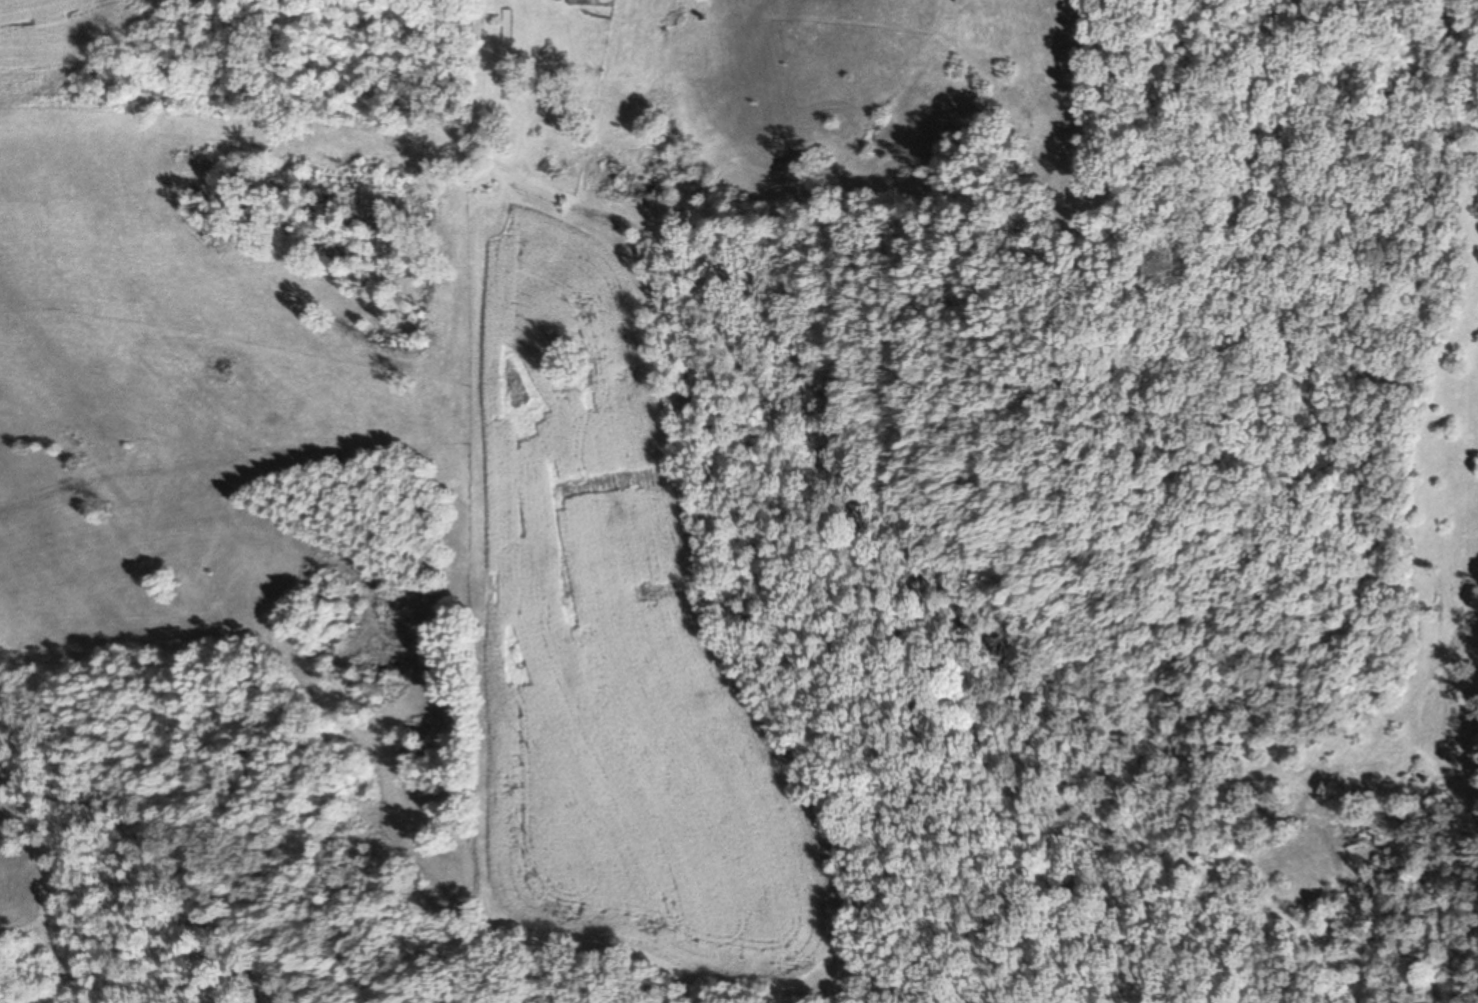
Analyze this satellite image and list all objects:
building: (580, 2)
road: (467, 38)

